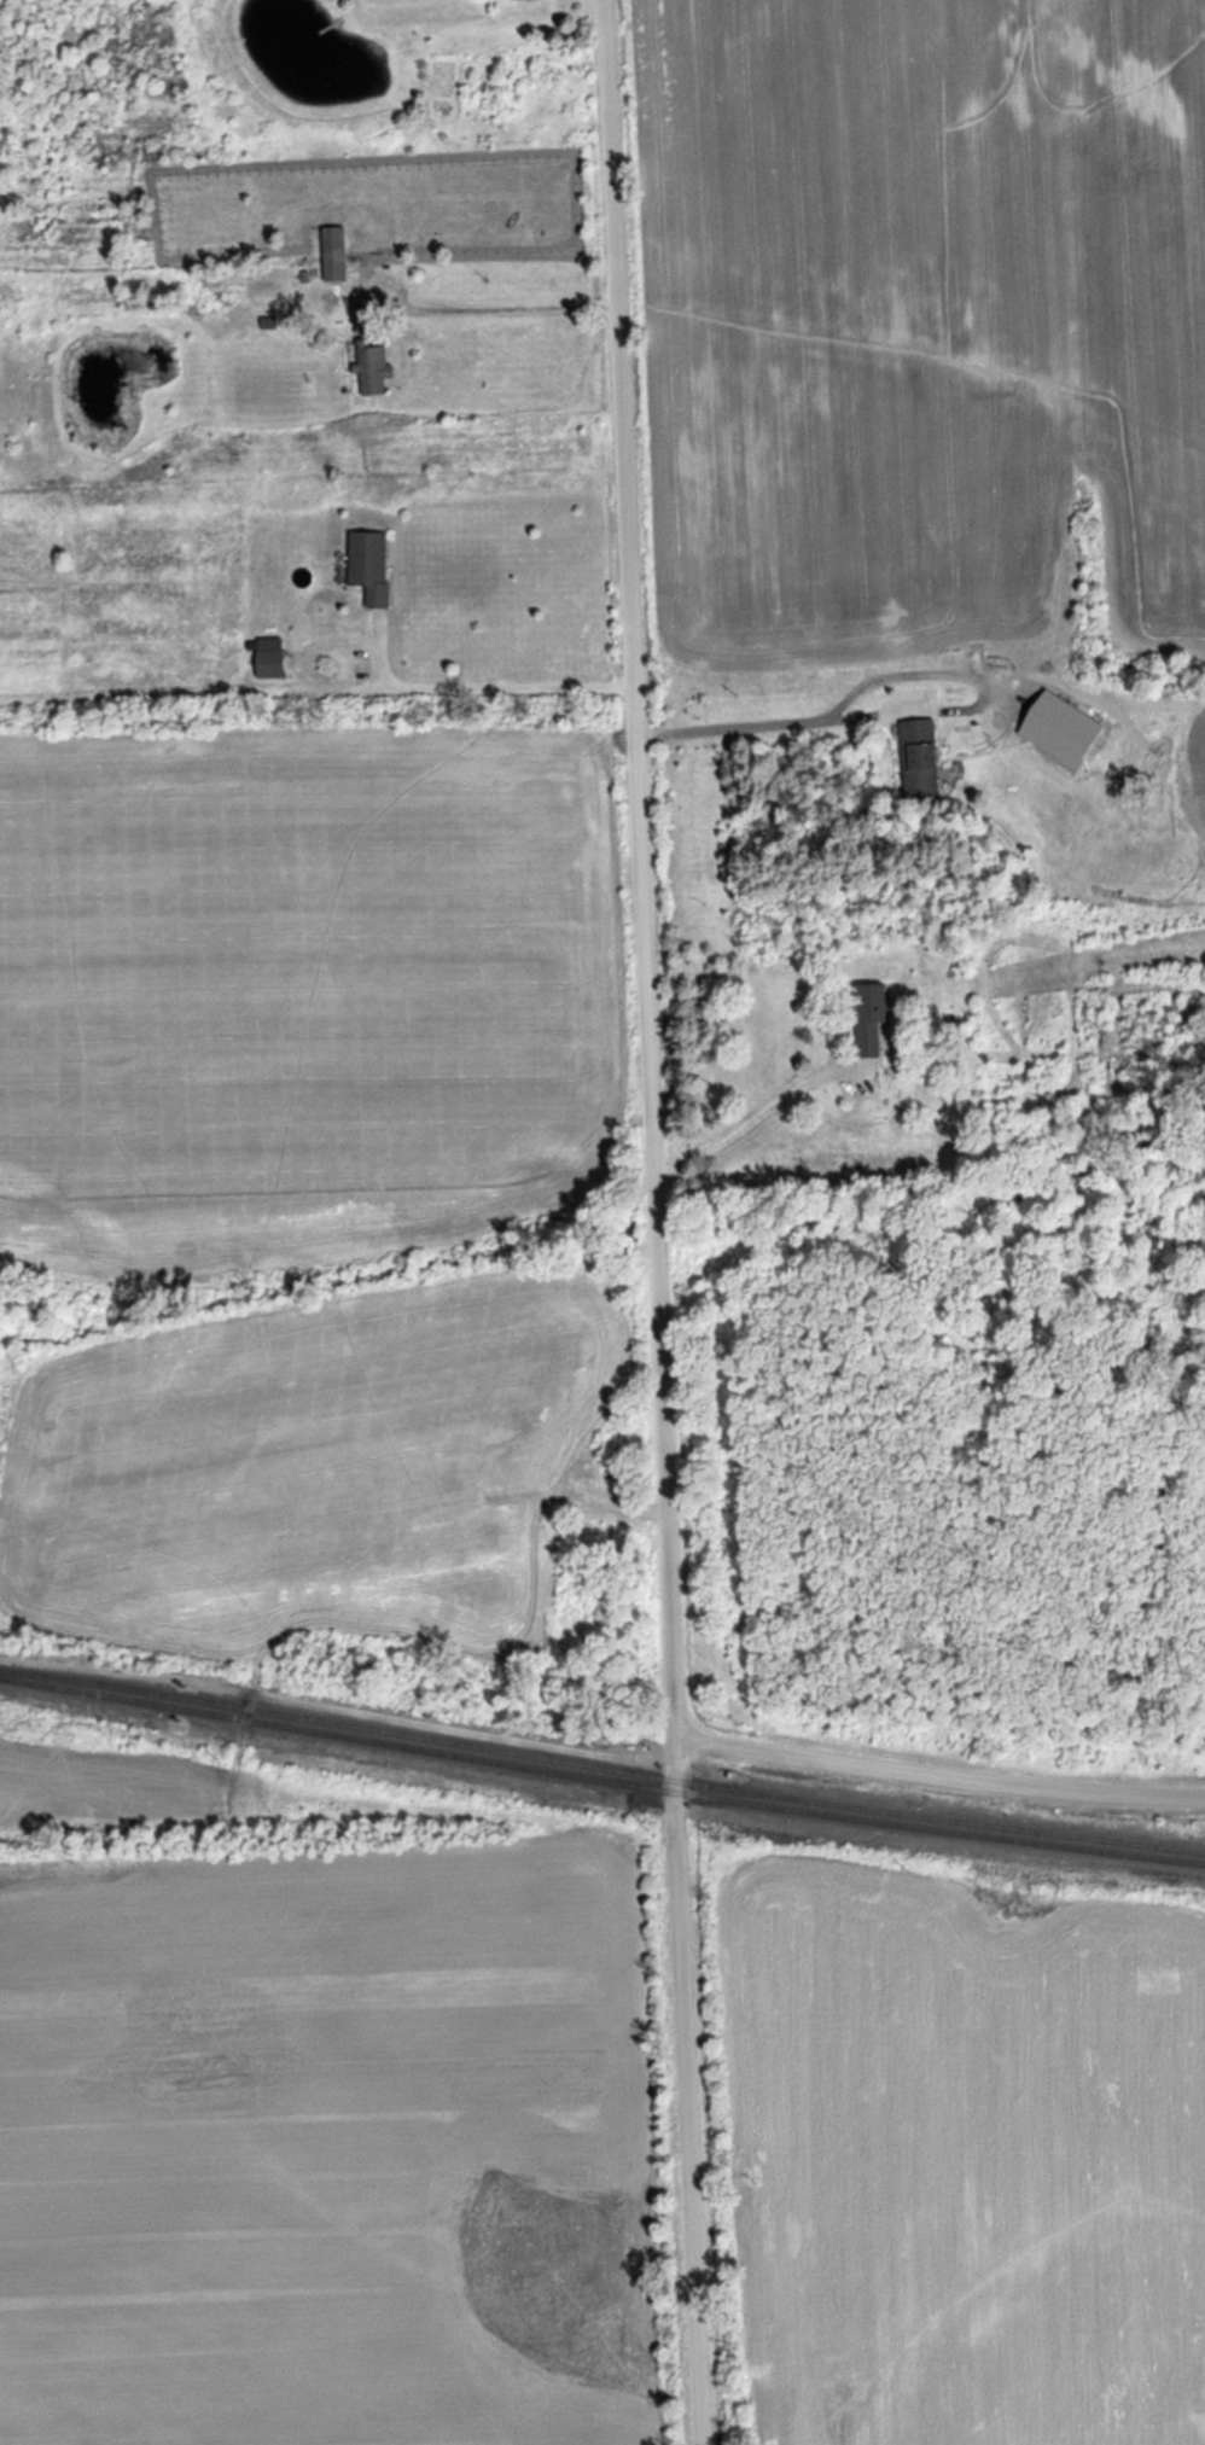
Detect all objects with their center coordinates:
building: (514, 0)
building: (330, 255)
road: (503, 304)
building: (359, 305)
building: (366, 367)
building: (363, 566)
building: (264, 658)
road: (479, 683)
road: (768, 721)
building: (914, 759)
building: (866, 1023)
road: (752, 1116)
road: (653, 1222)
railway: (601, 1768)
railway: (600, 1780)
road: (936, 1781)

